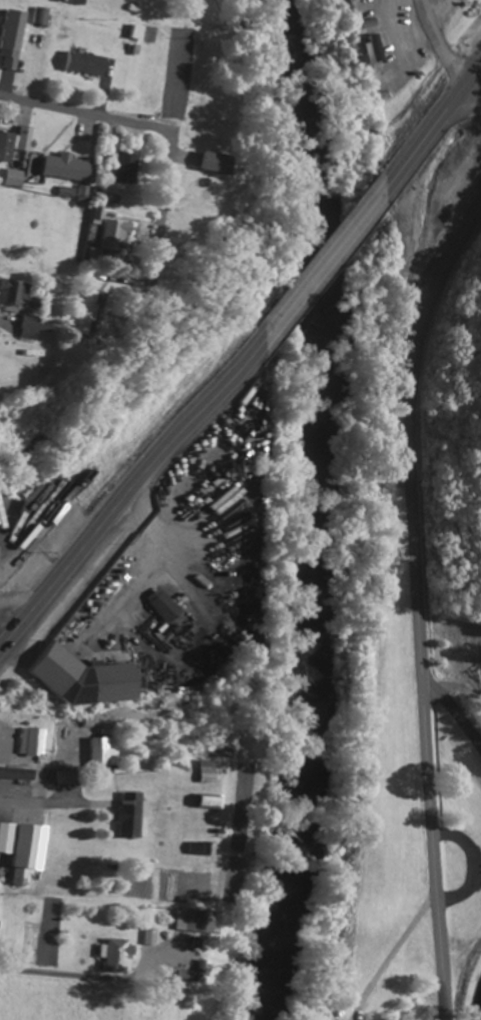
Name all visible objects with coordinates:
building: (128, 34)
road: (445, 42)
building: (10, 50)
building: (362, 52)
building: (77, 65)
road: (480, 78)
road: (46, 106)
road: (427, 139)
building: (13, 145)
building: (202, 164)
building: (60, 169)
building: (118, 170)
road: (164, 177)
building: (11, 180)
building: (107, 237)
road: (319, 263)
building: (17, 317)
road: (134, 485)
river: (310, 509)
road: (263, 569)
building: (158, 607)
road: (423, 615)
building: (37, 678)
road: (456, 707)
building: (30, 744)
building: (94, 756)
building: (196, 774)
road: (57, 789)
building: (129, 817)
building: (10, 839)
building: (22, 879)
building: (186, 922)
building: (145, 944)
road: (58, 974)
building: (180, 978)

